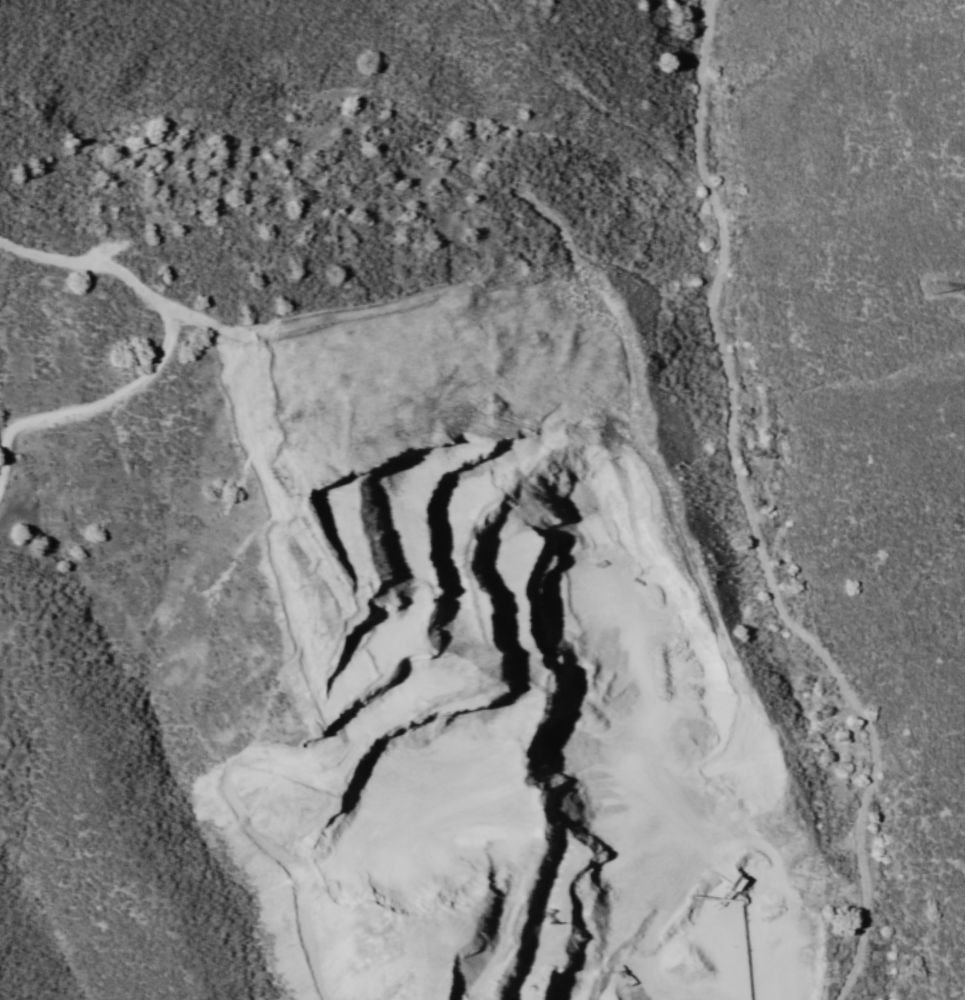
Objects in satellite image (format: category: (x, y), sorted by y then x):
road: (586, 96)
road: (364, 519)
road: (747, 520)
quarry: (609, 847)

